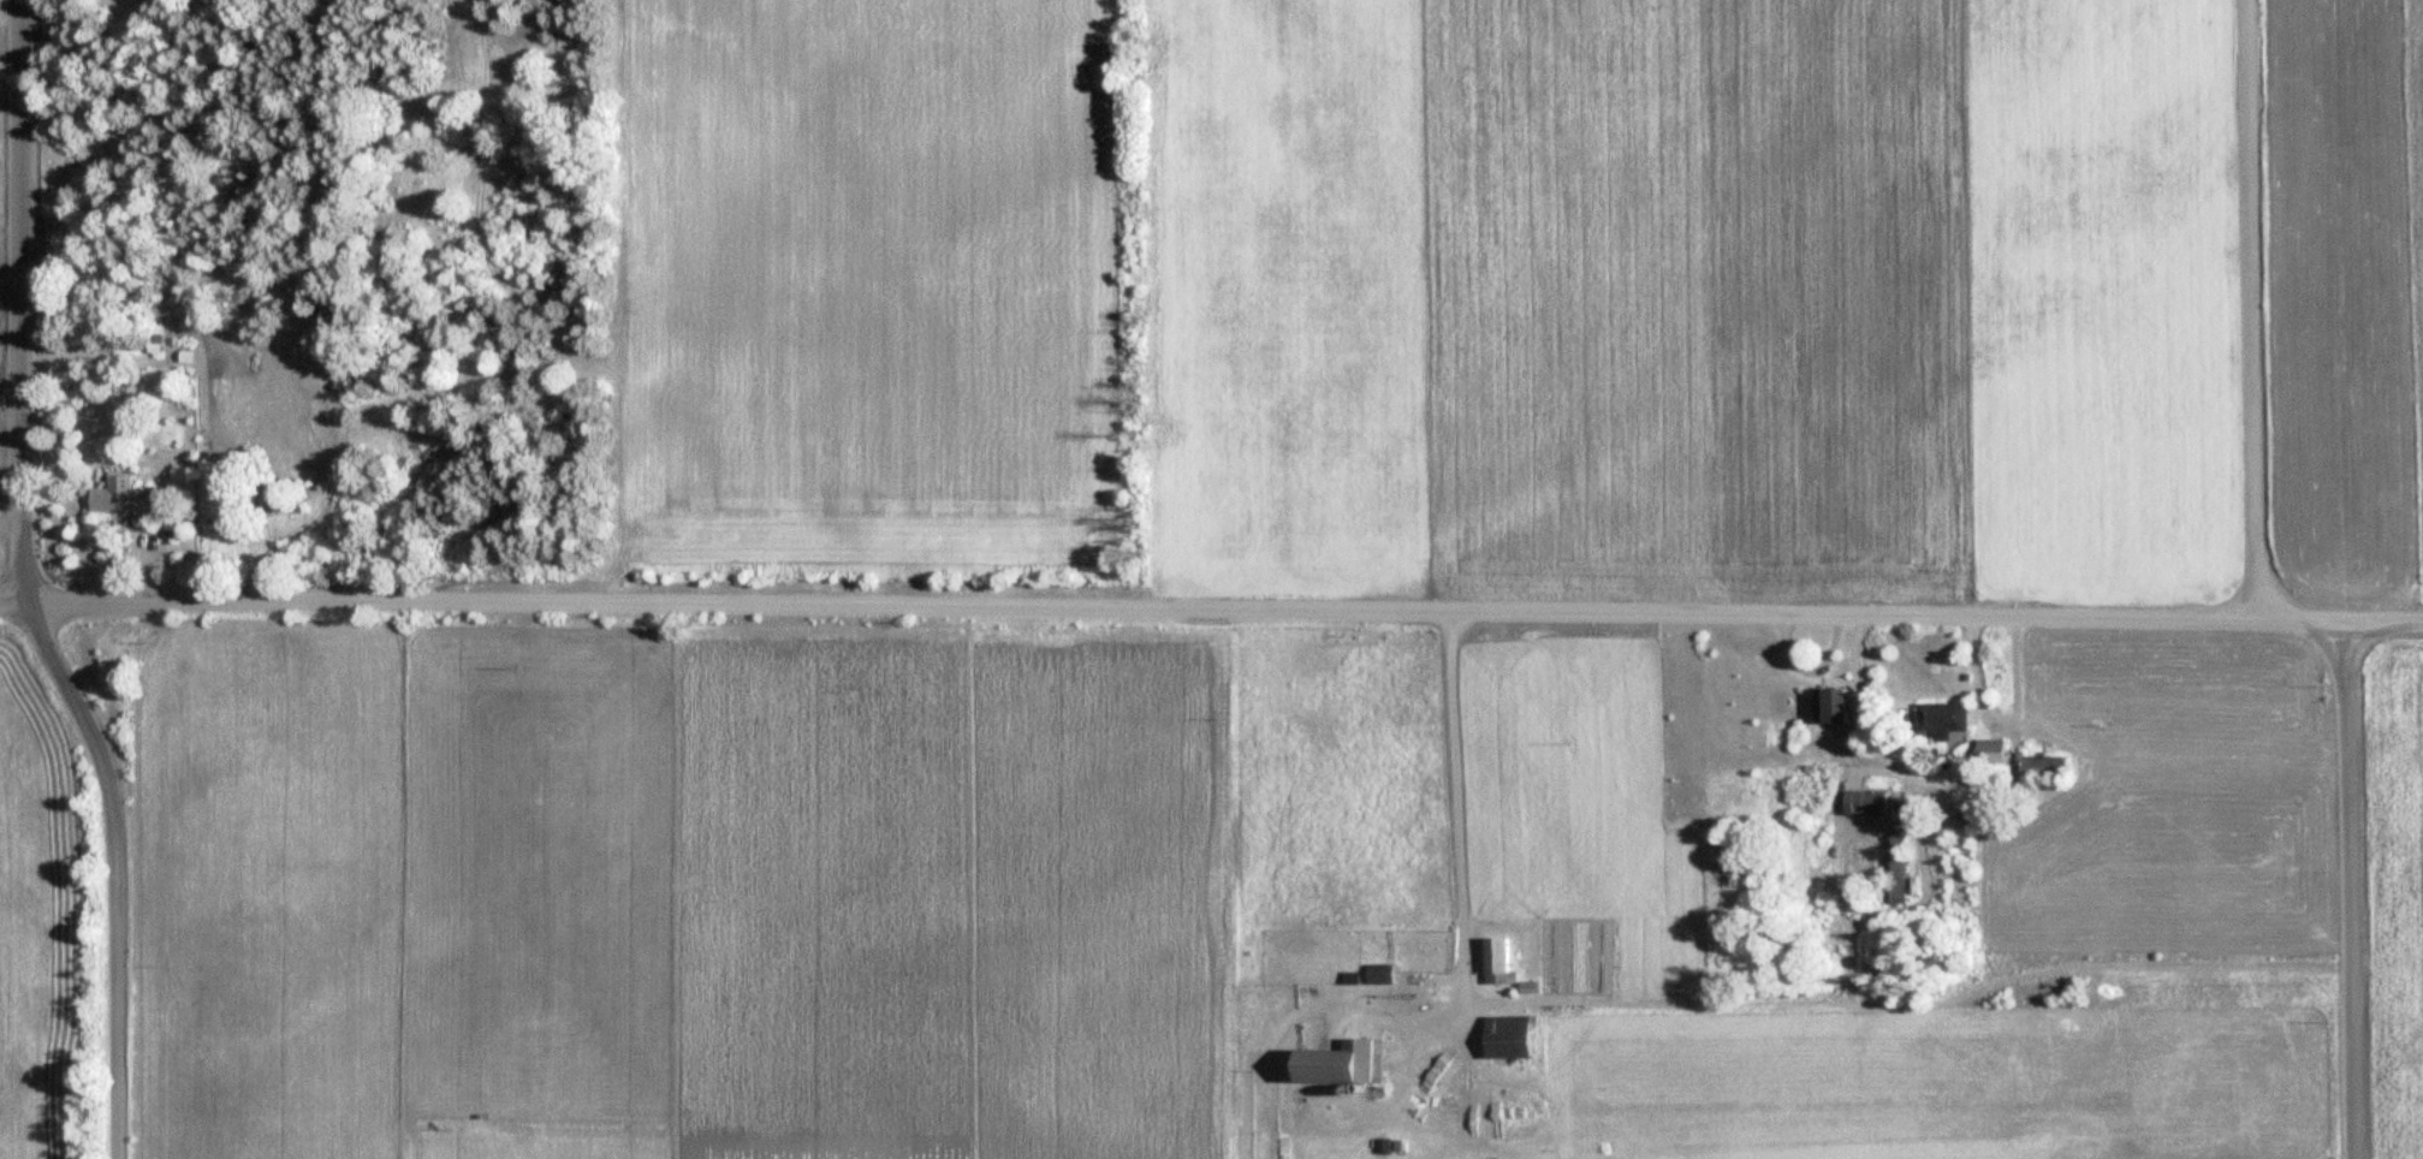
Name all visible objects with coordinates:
road: (23, 299)
road: (2252, 307)
building: (118, 497)
road: (85, 599)
road: (1297, 607)
building: (1827, 706)
building: (1935, 720)
building: (2014, 763)
building: (1861, 803)
road: (109, 868)
building: (1892, 869)
road: (2351, 888)
building: (1493, 962)
building: (1376, 974)
building: (1408, 980)
building: (1503, 1036)
building: (1335, 1064)

